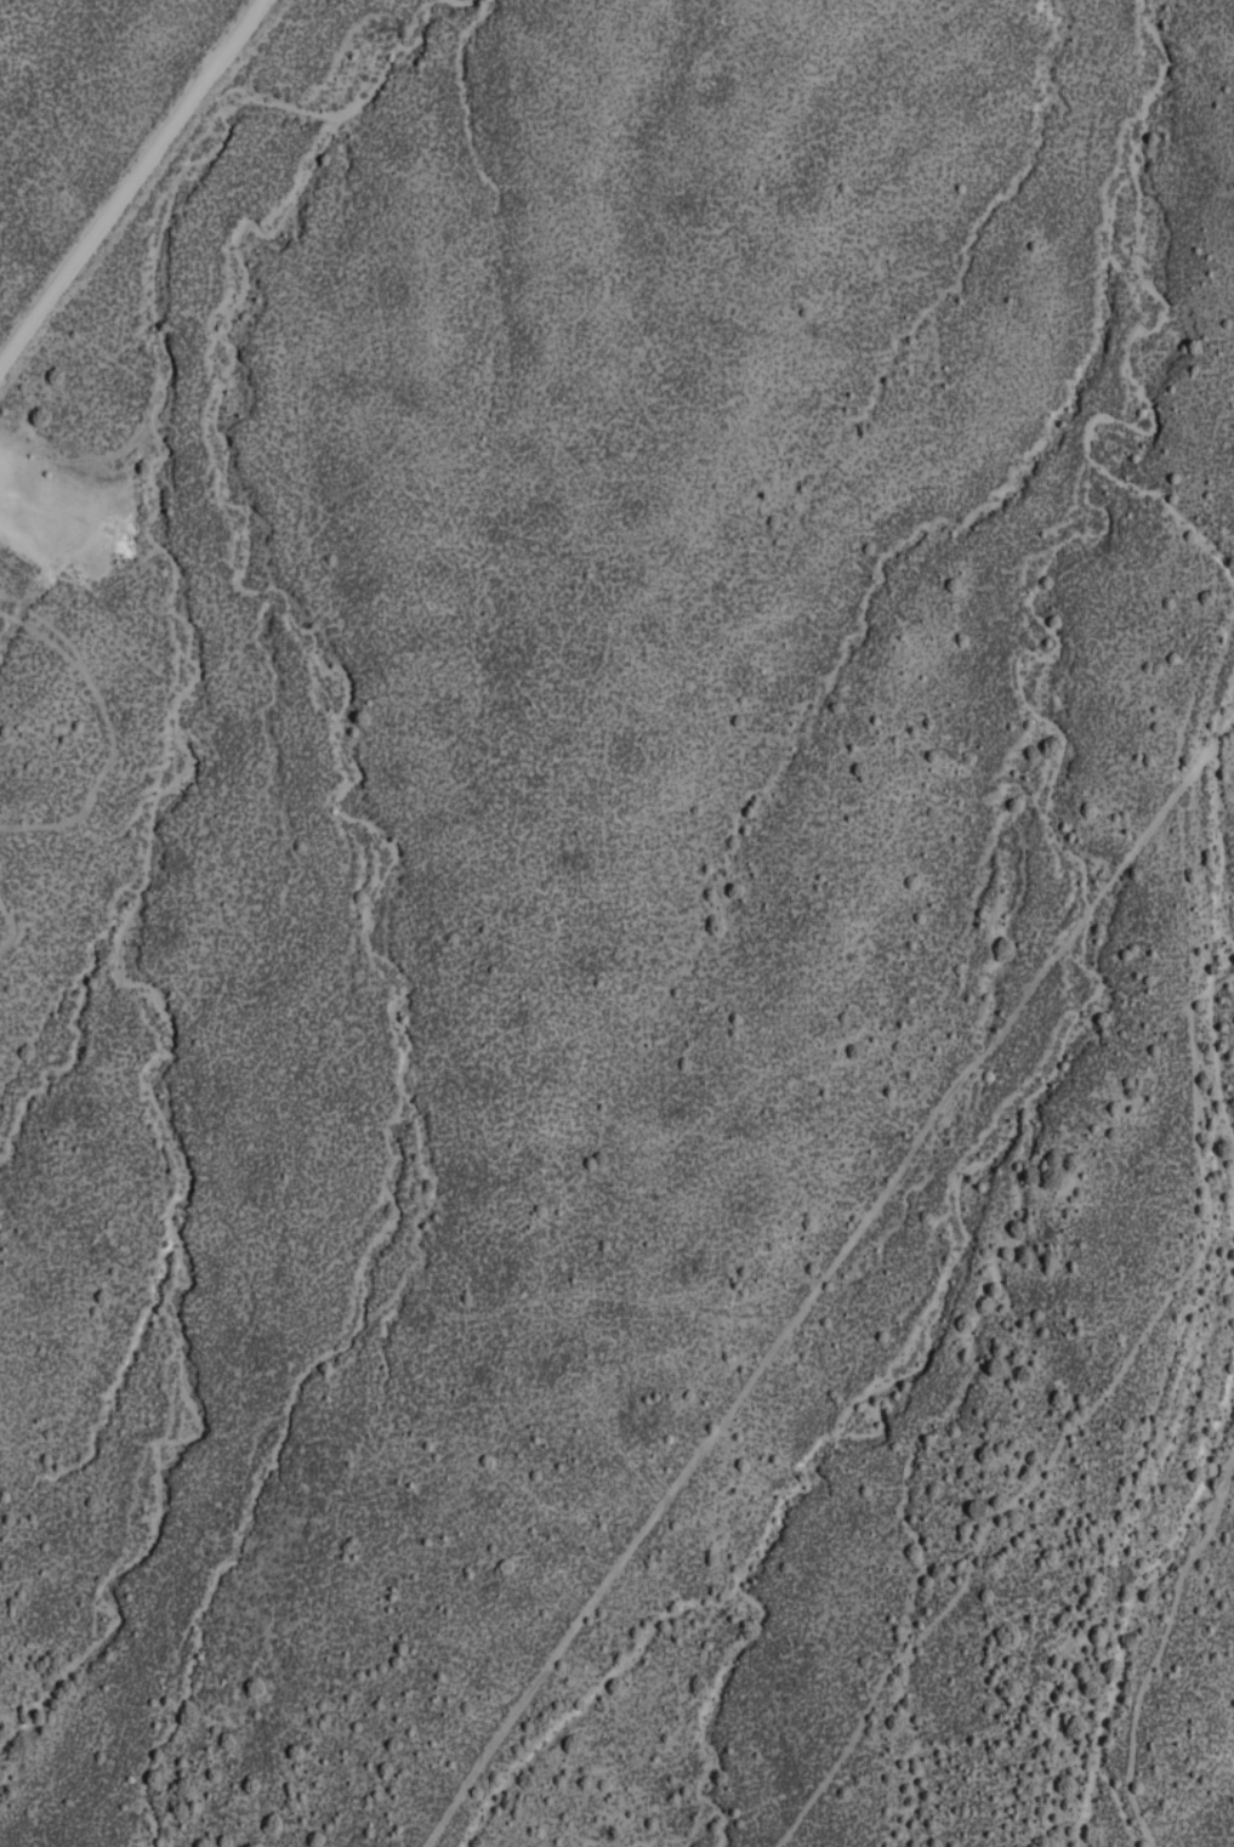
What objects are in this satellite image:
road: (133, 184)
road: (1122, 1283)
road: (1014, 1692)

